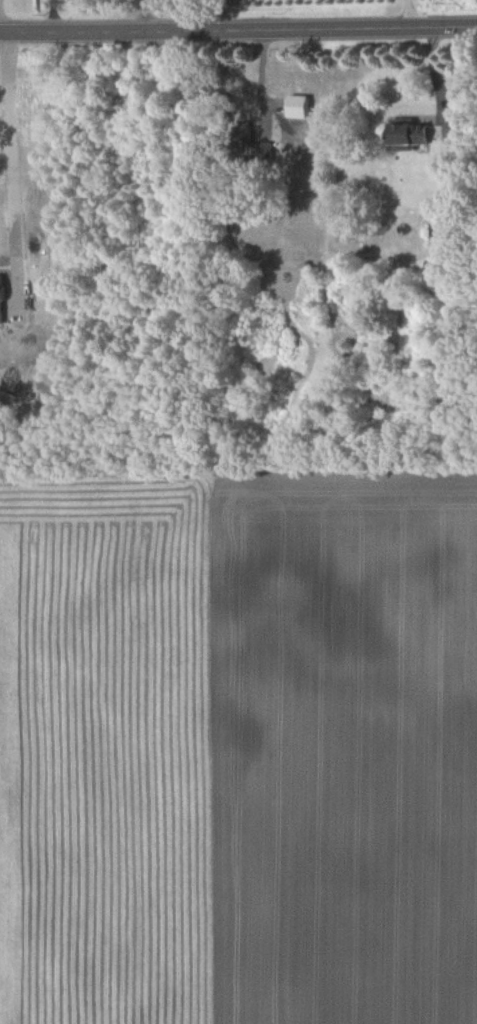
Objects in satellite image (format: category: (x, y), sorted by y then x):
road: (404, 12)
road: (238, 26)
road: (432, 78)
building: (240, 132)
building: (406, 132)
building: (445, 224)

